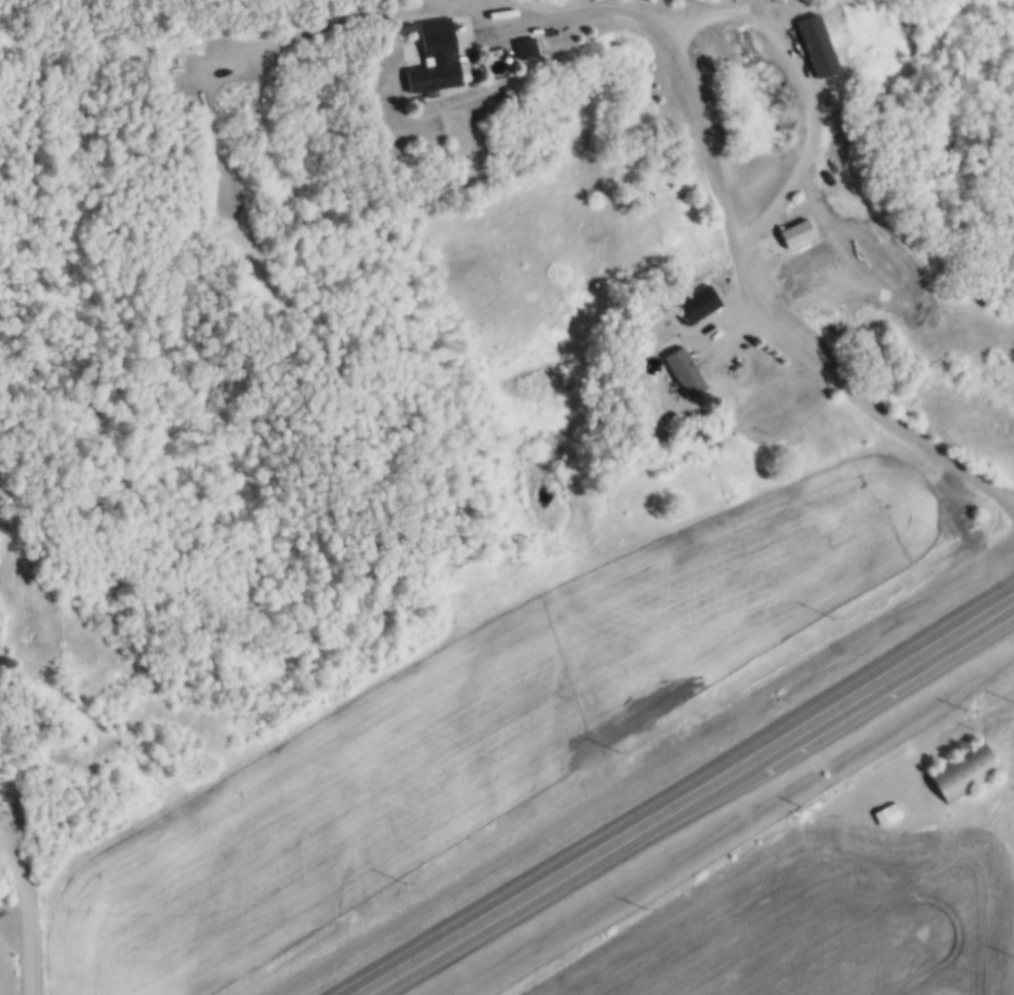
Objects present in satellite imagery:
building: (404, 27)
building: (815, 43)
building: (524, 45)
building: (434, 56)
building: (505, 87)
building: (834, 156)
road: (733, 232)
building: (792, 234)
building: (691, 301)
building: (680, 369)
road: (2, 569)
road: (881, 672)
building: (965, 769)
building: (887, 812)
road: (553, 874)
road: (31, 912)

